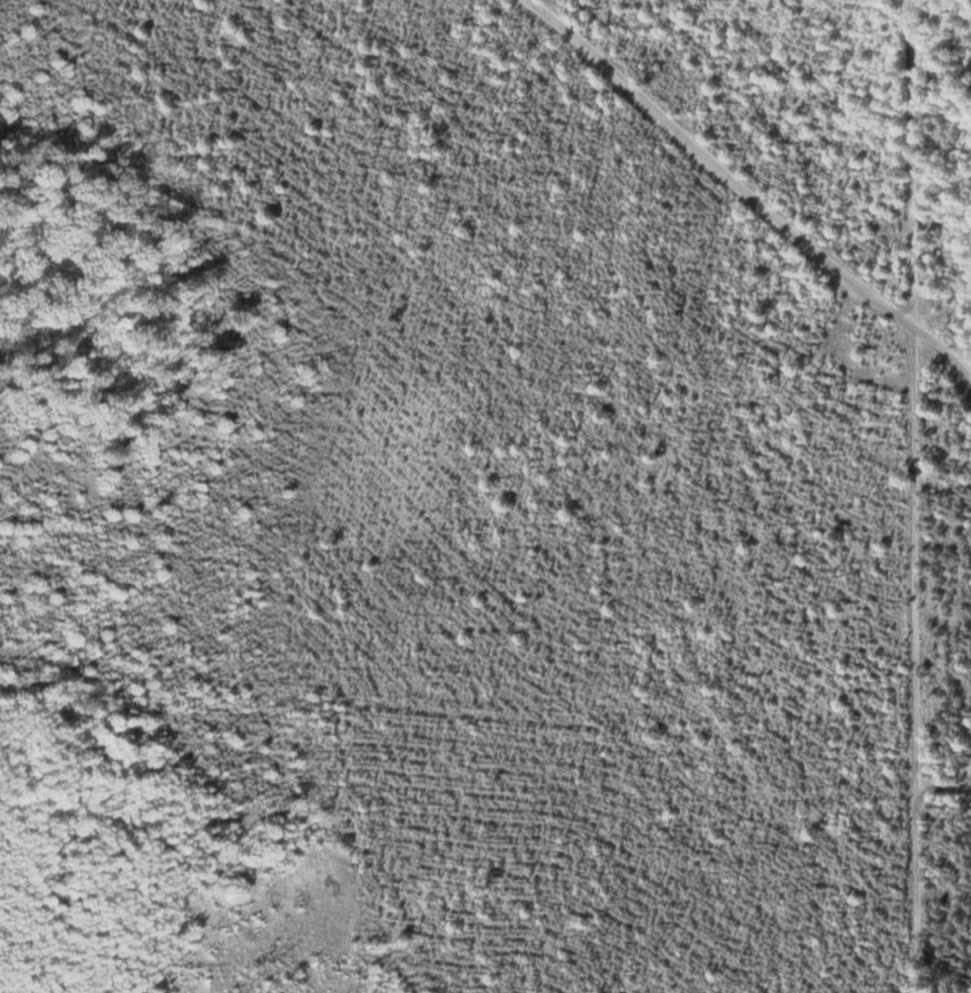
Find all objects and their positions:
road: (723, 164)
road: (944, 355)
road: (919, 496)
road: (947, 788)

